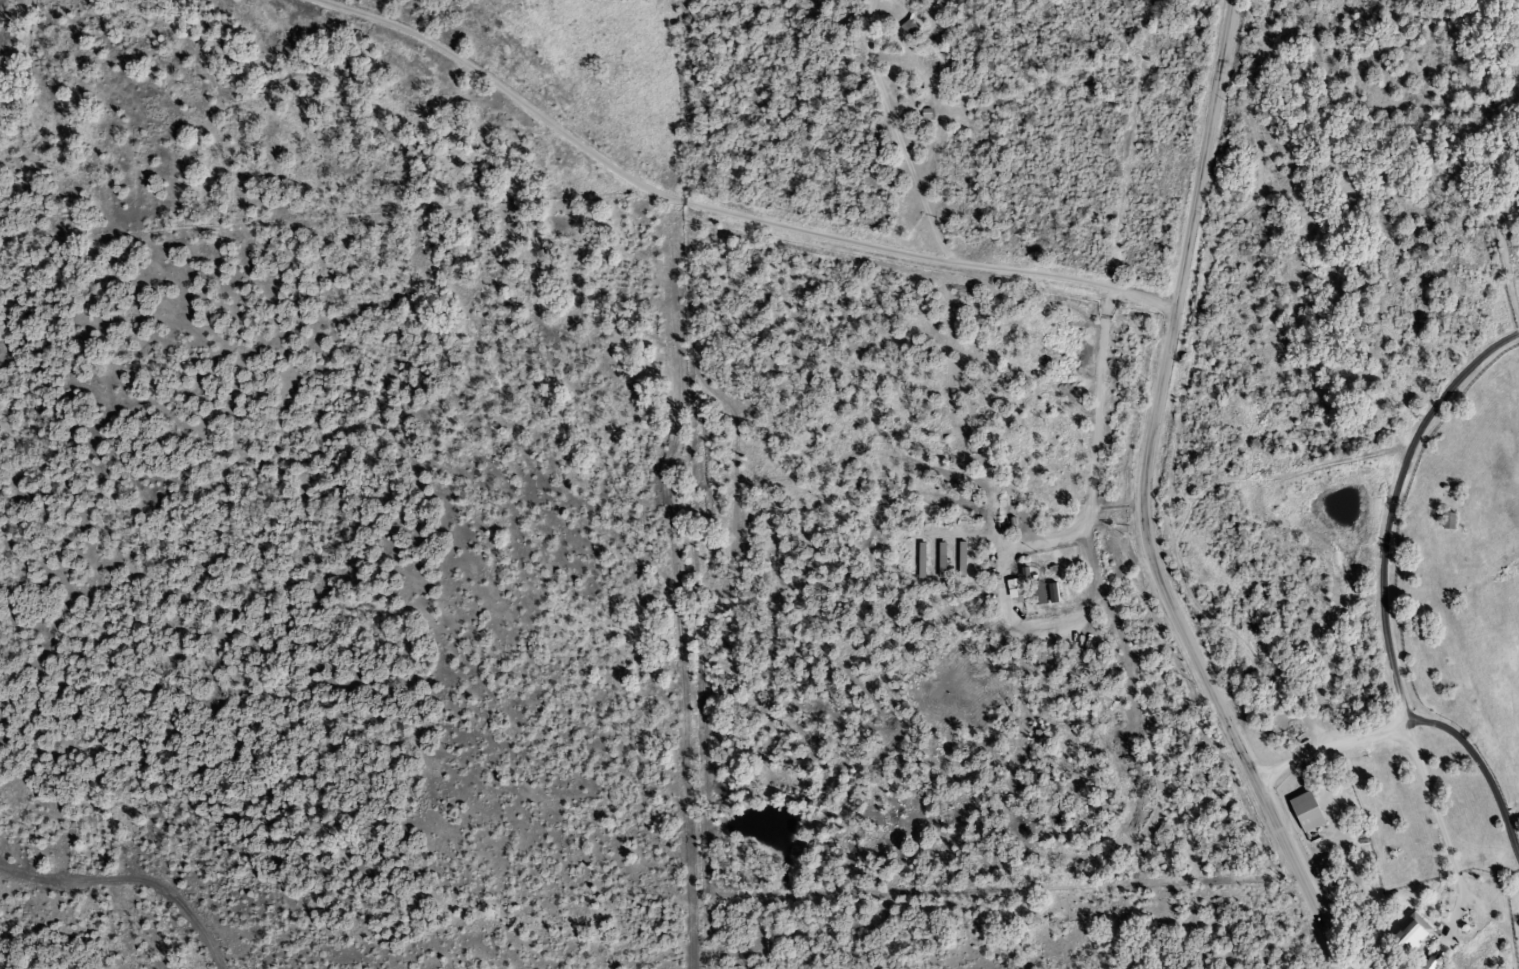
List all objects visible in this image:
building: (904, 28)
road: (726, 212)
road: (1094, 461)
road: (1141, 502)
building: (1447, 520)
road: (675, 568)
road: (1381, 581)
building: (1034, 592)
building: (1305, 812)
road: (132, 880)
building: (1408, 933)
building: (1428, 965)

